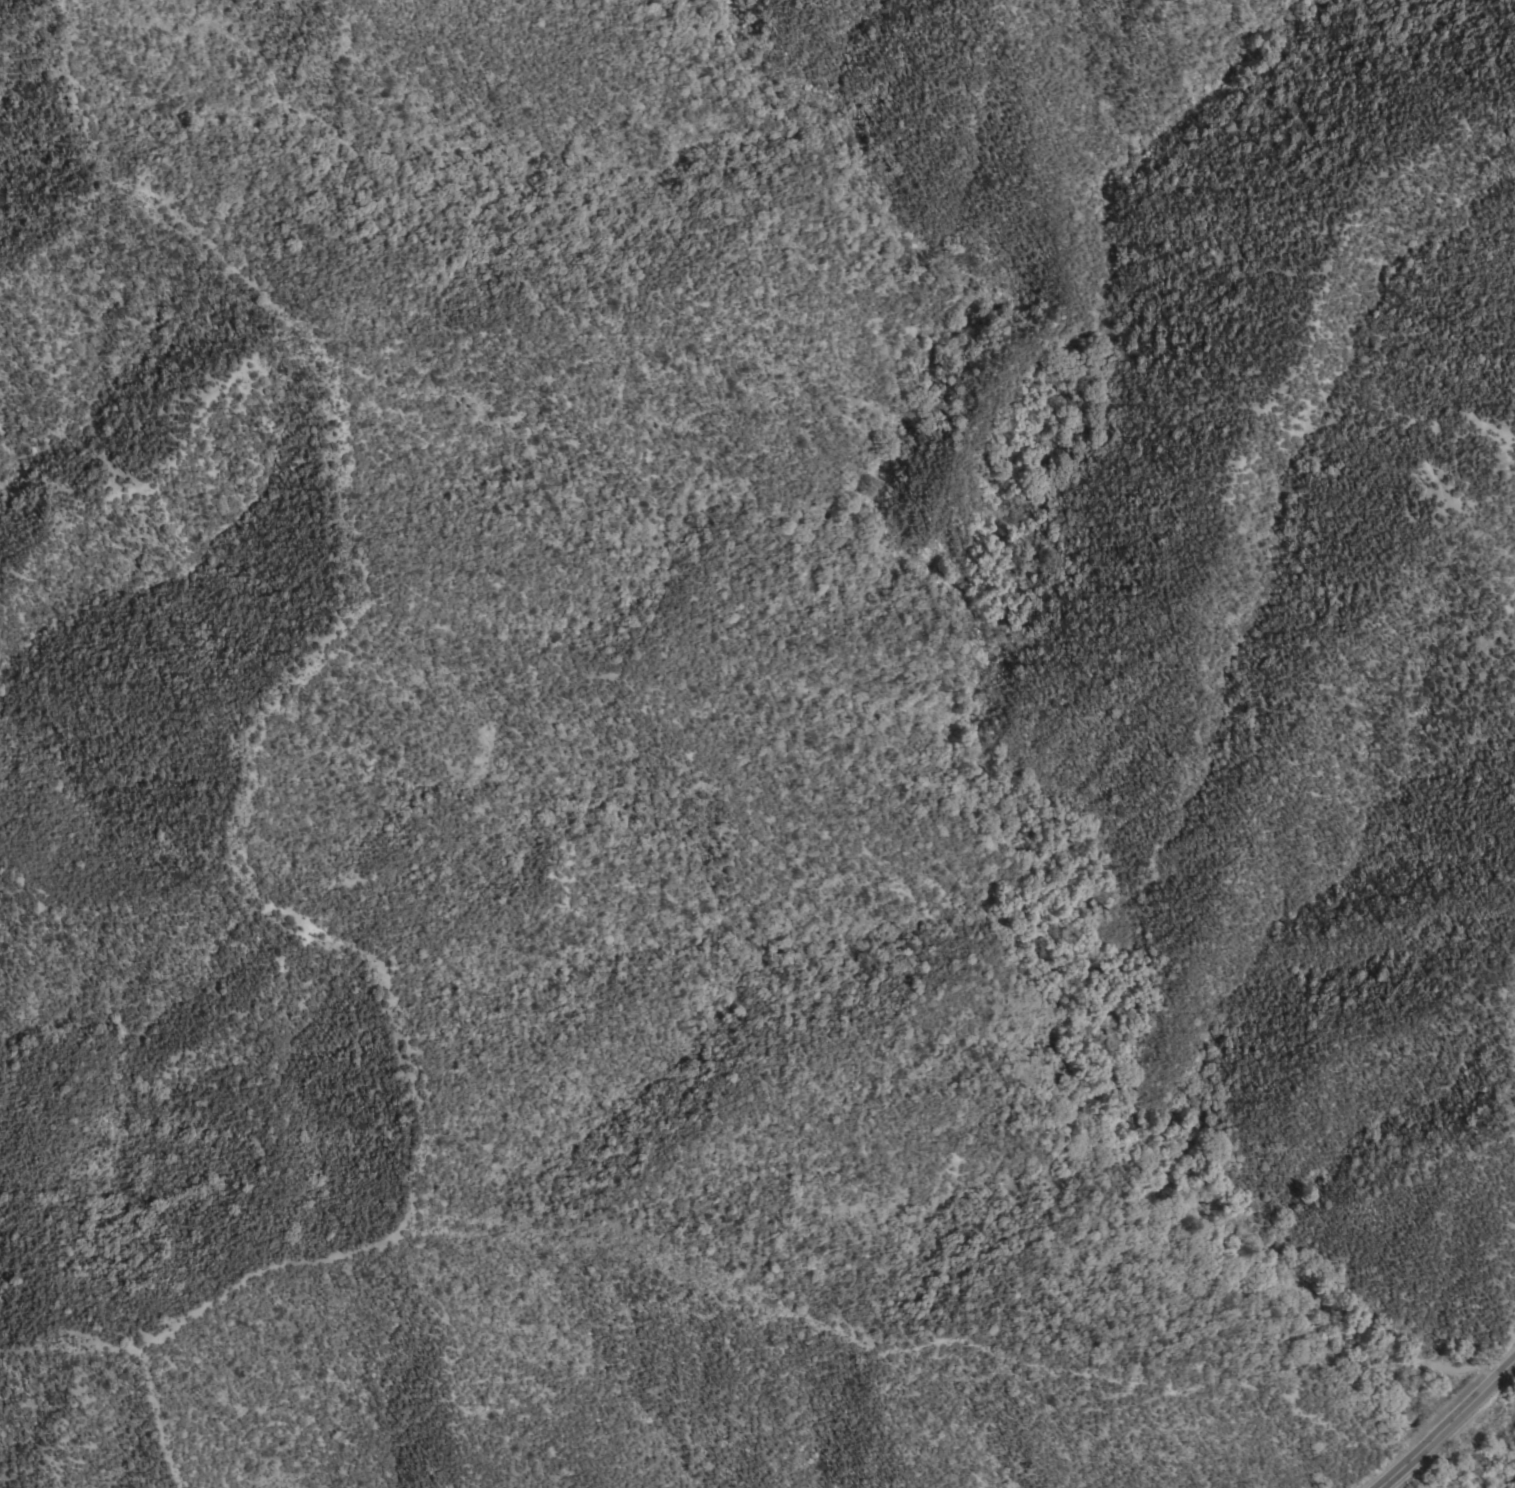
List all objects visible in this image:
road: (1441, 1422)

